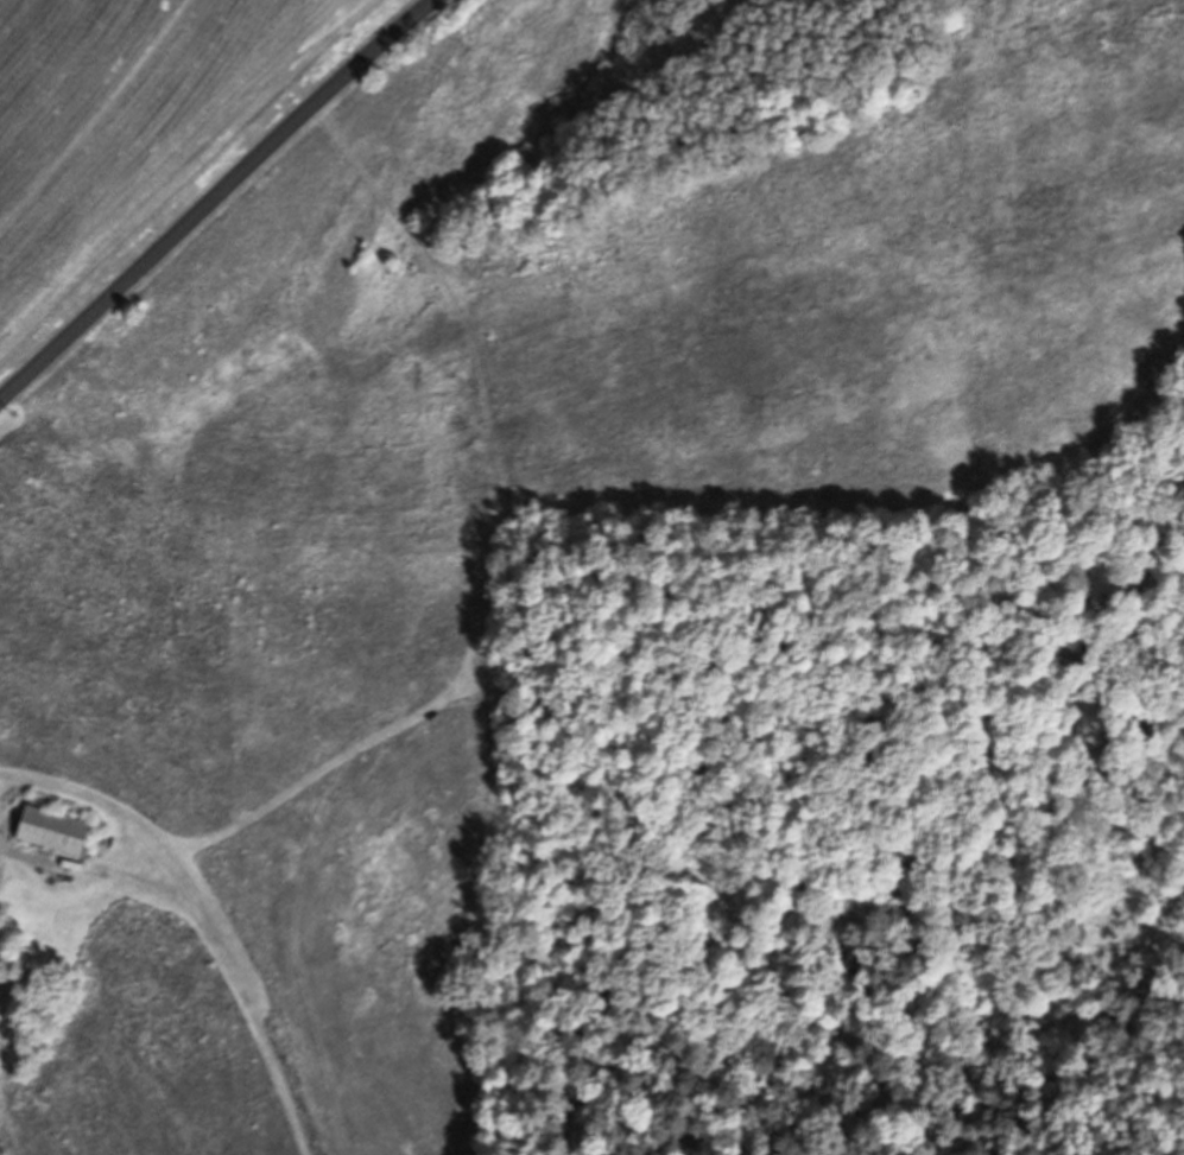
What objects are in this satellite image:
road: (219, 201)
road: (11, 786)
building: (53, 831)

